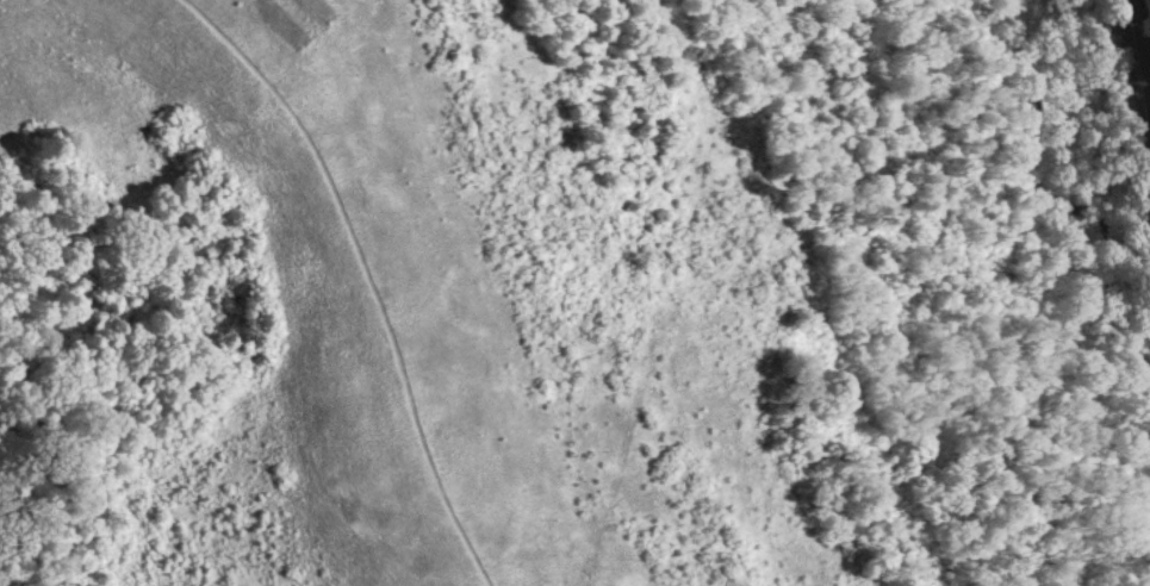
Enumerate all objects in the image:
road: (1144, 80)
road: (1139, 82)

